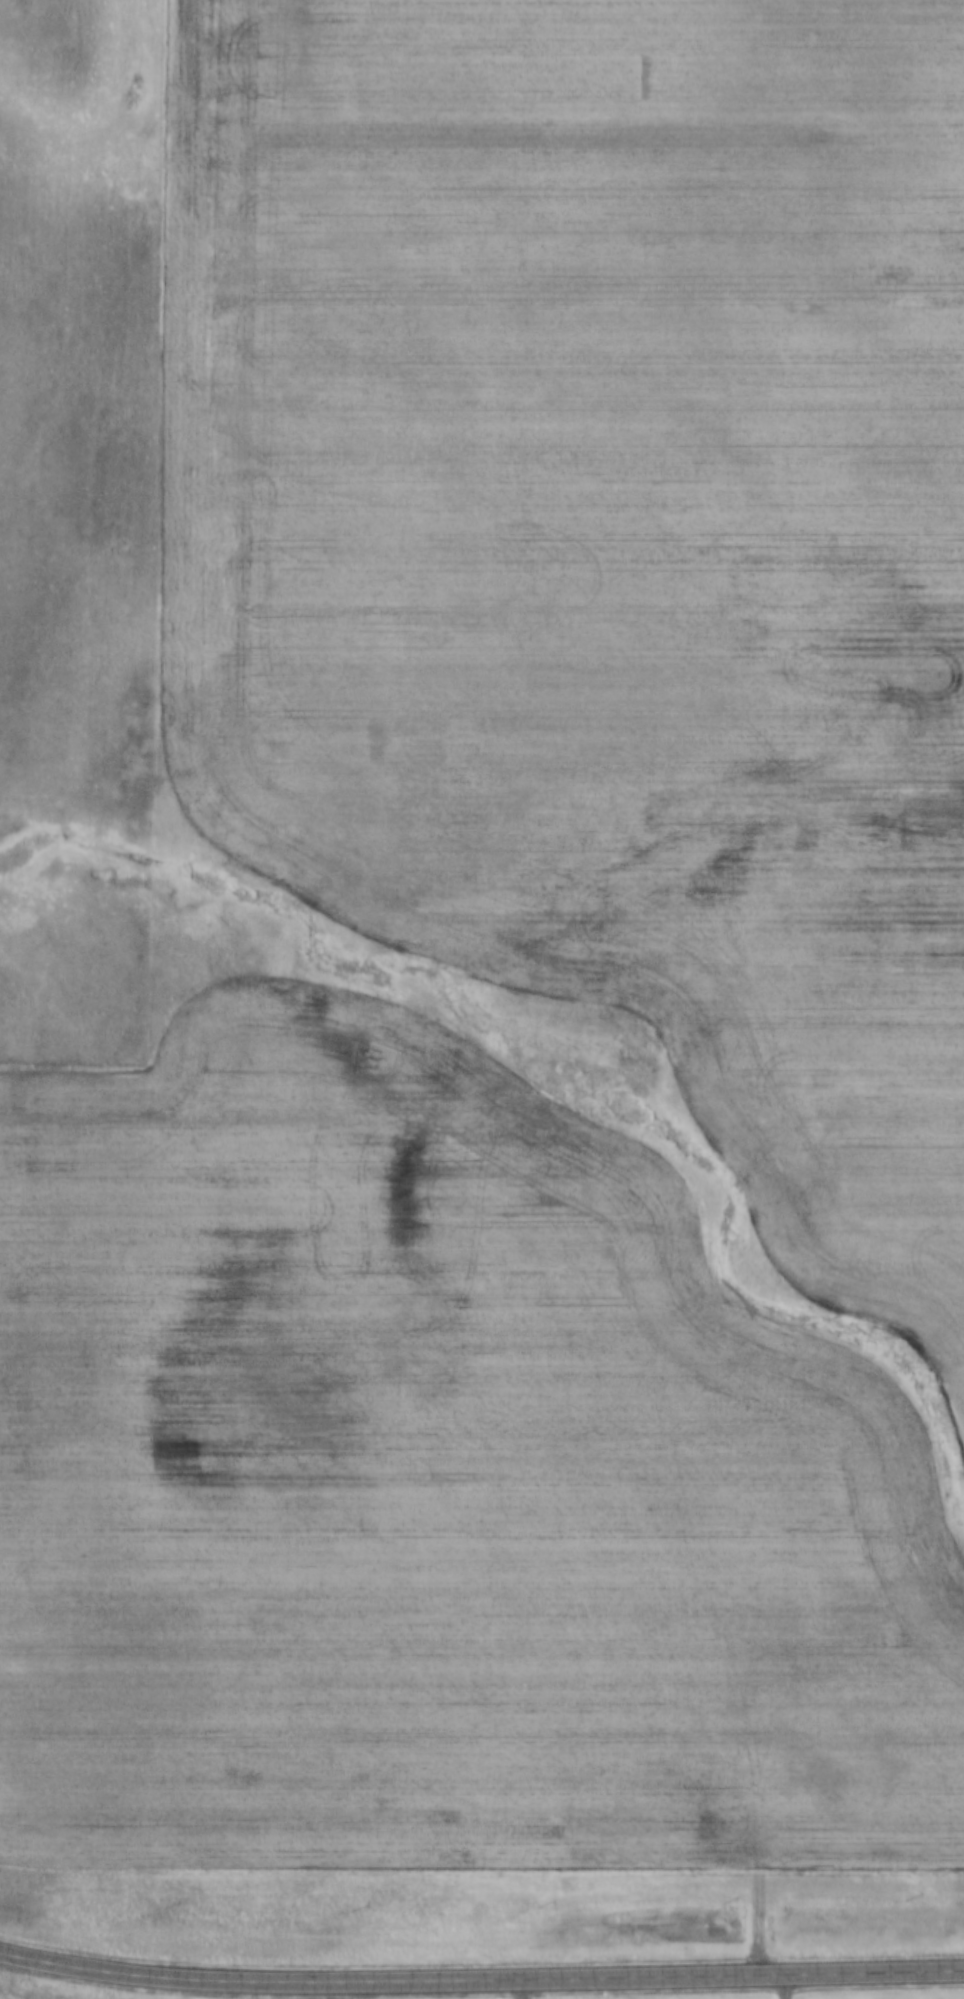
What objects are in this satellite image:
road: (818, 1969)
road: (334, 1977)
road: (793, 1984)

